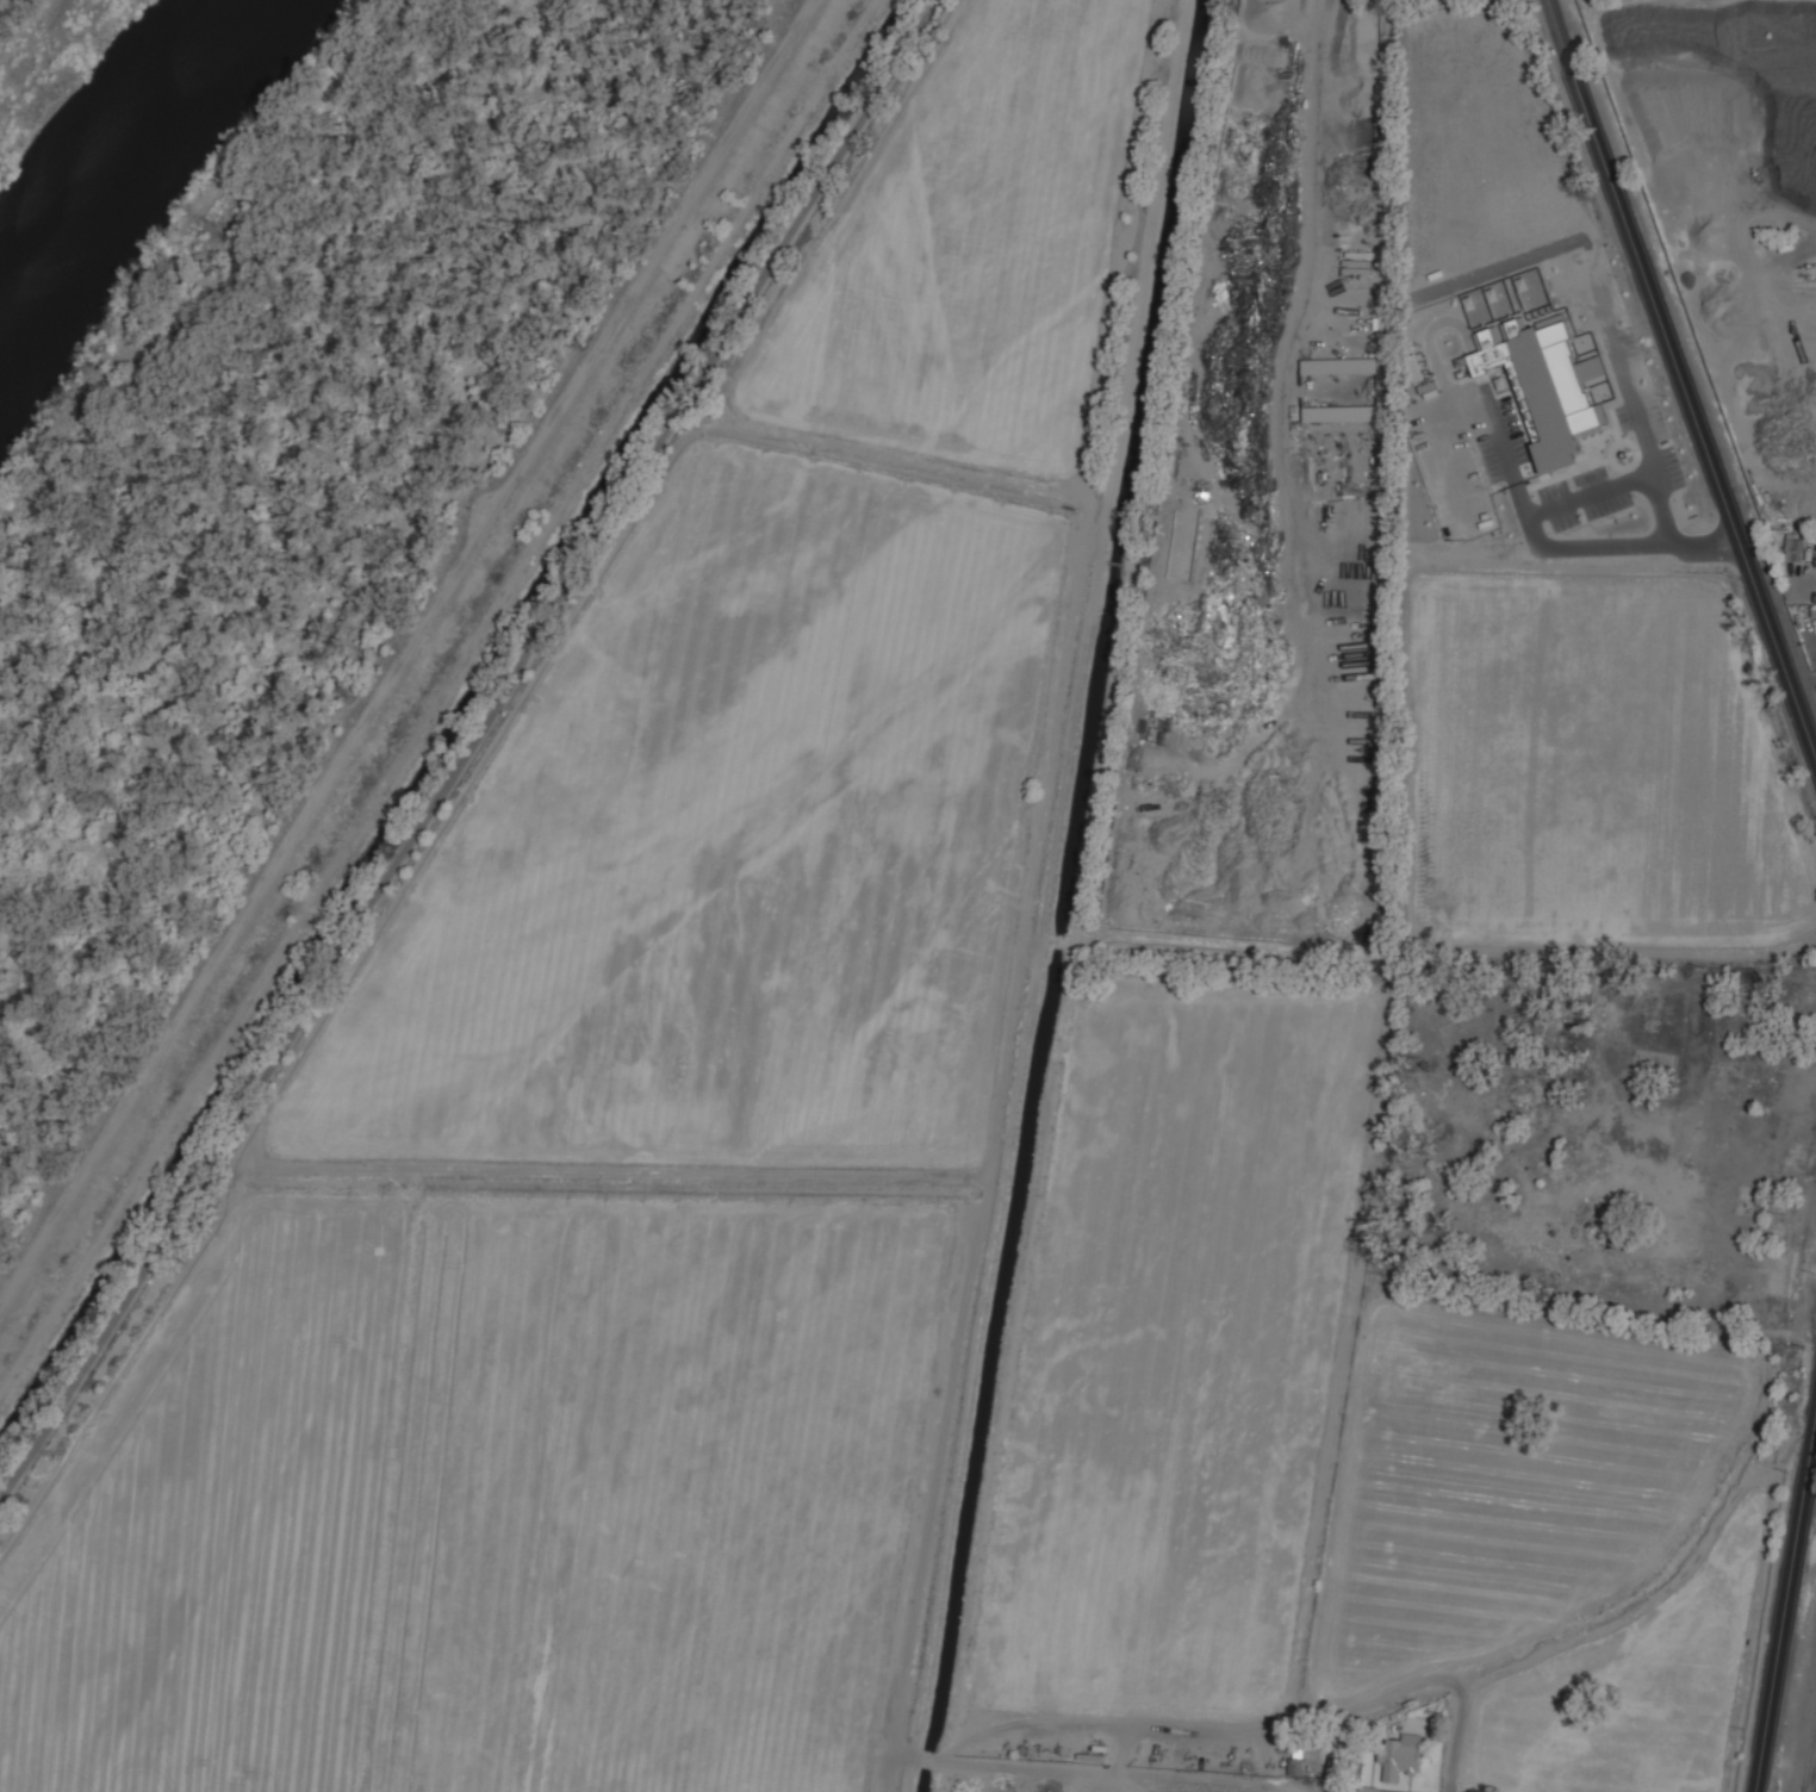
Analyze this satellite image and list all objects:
river: (110, 158)
road: (240, 321)
road: (1677, 377)
building: (1543, 384)
road: (265, 462)
road: (1576, 498)
building: (1796, 547)
road: (403, 653)
road: (469, 748)
crop: (982, 1027)
road: (1787, 1613)
road: (1459, 1753)
building: (1401, 1755)
railway: (1811, 1757)
building: (1296, 1765)
building: (1369, 1790)
railway: (1805, 1791)

